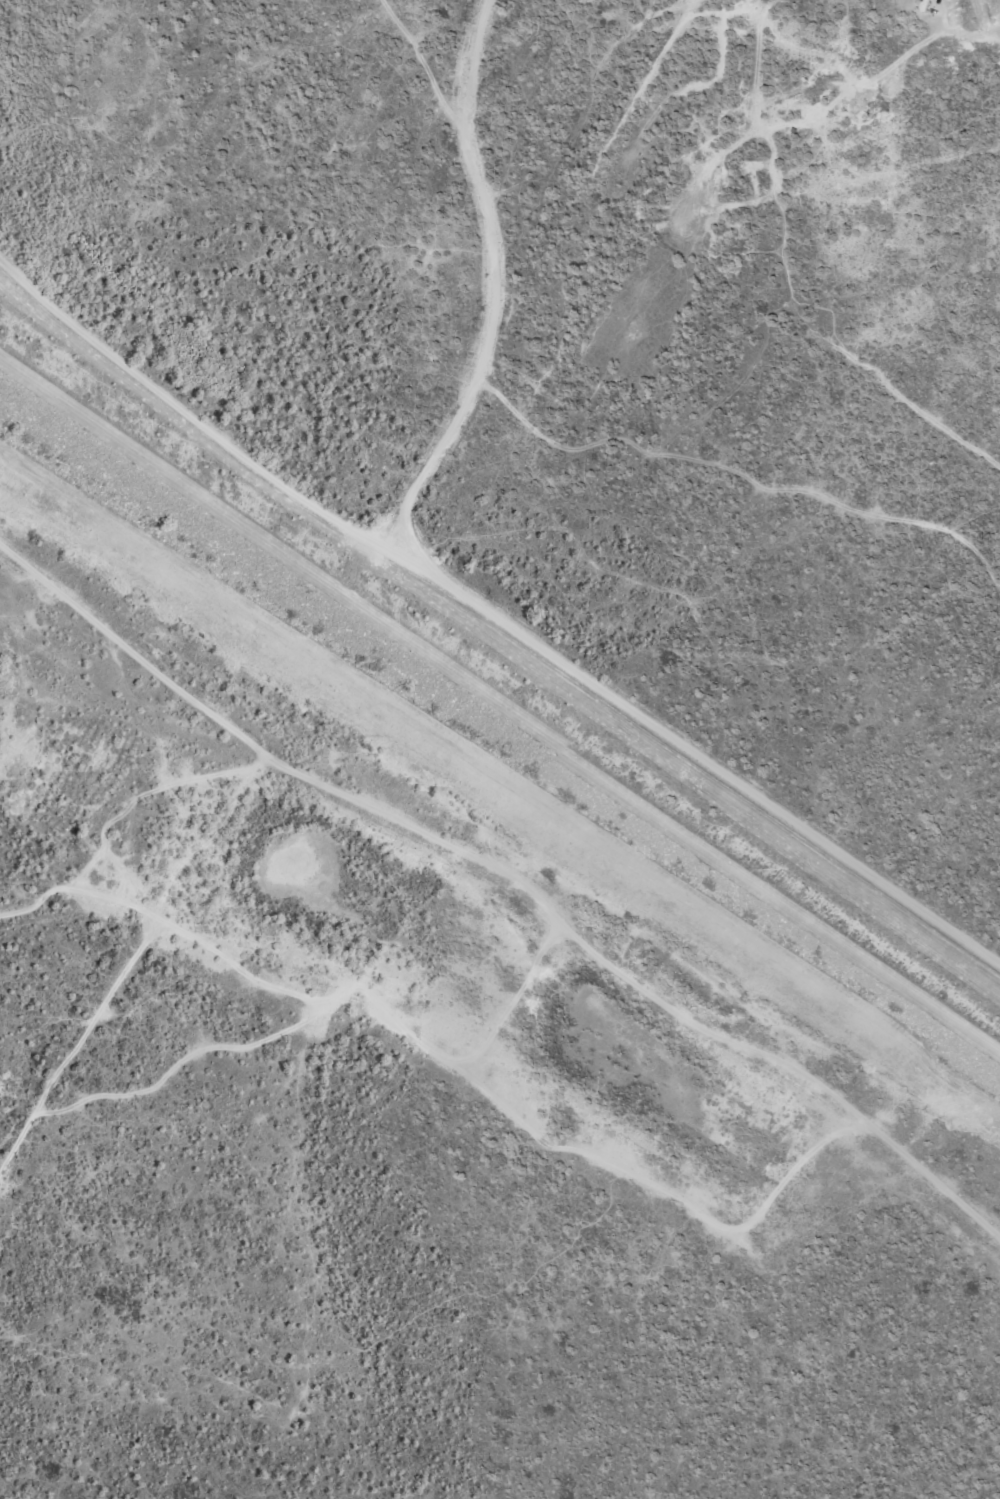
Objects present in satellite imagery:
road: (491, 280)
railway: (354, 583)
road: (494, 618)
dam: (452, 682)
road: (500, 708)
road: (509, 881)
road: (157, 905)
road: (76, 1045)

